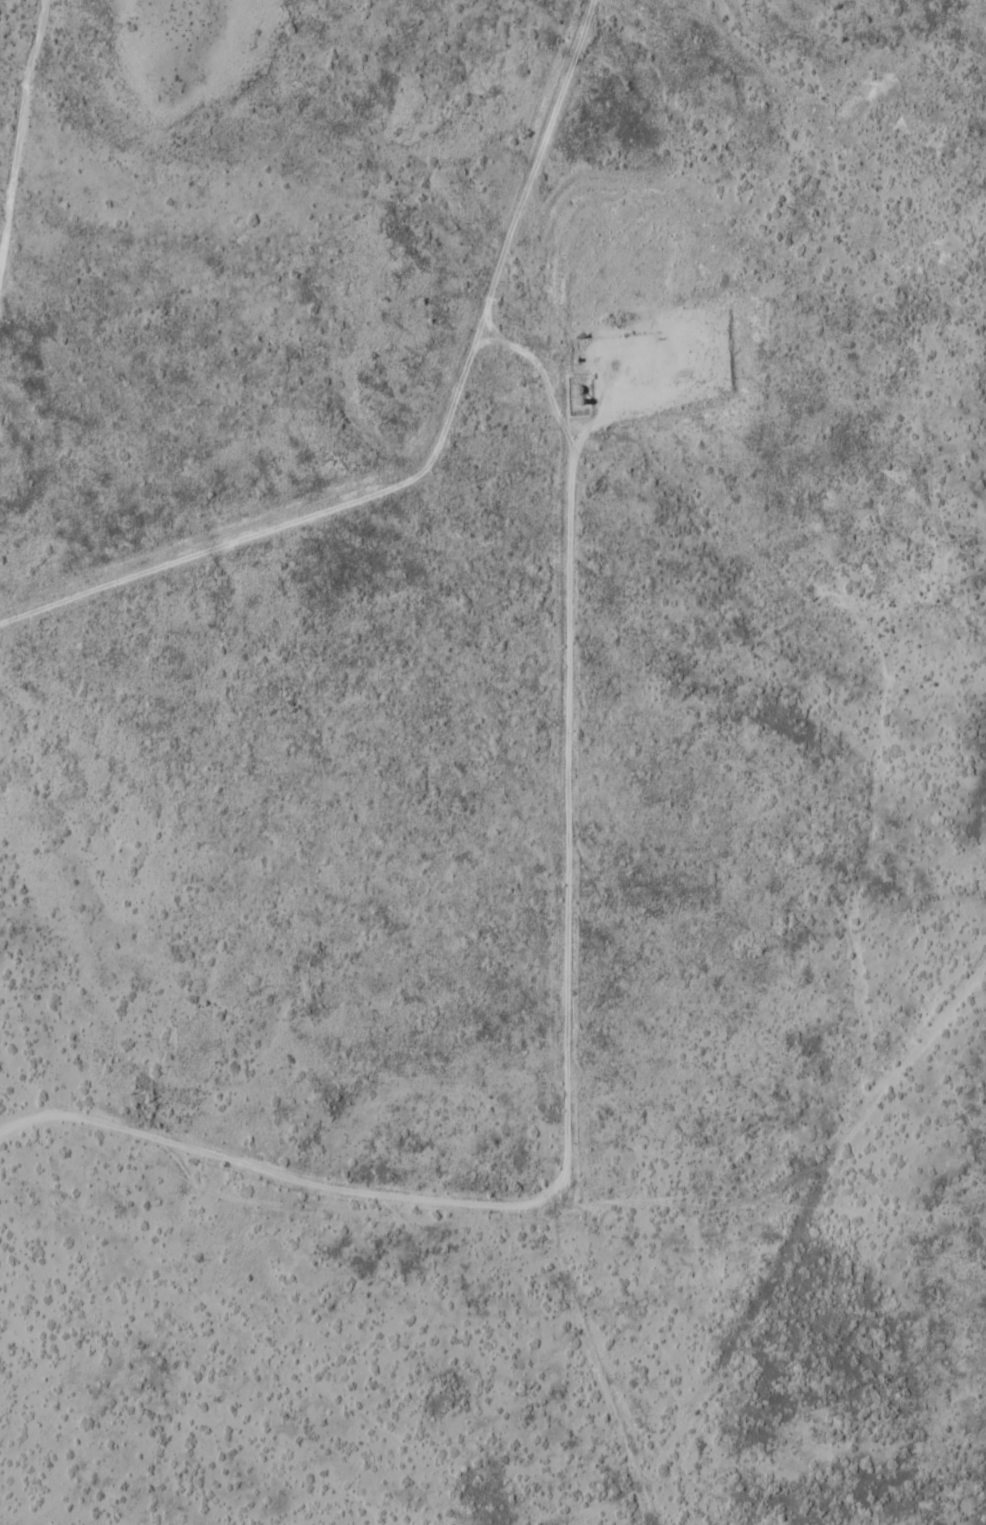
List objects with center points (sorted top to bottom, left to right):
road: (21, 131)
road: (564, 1016)

